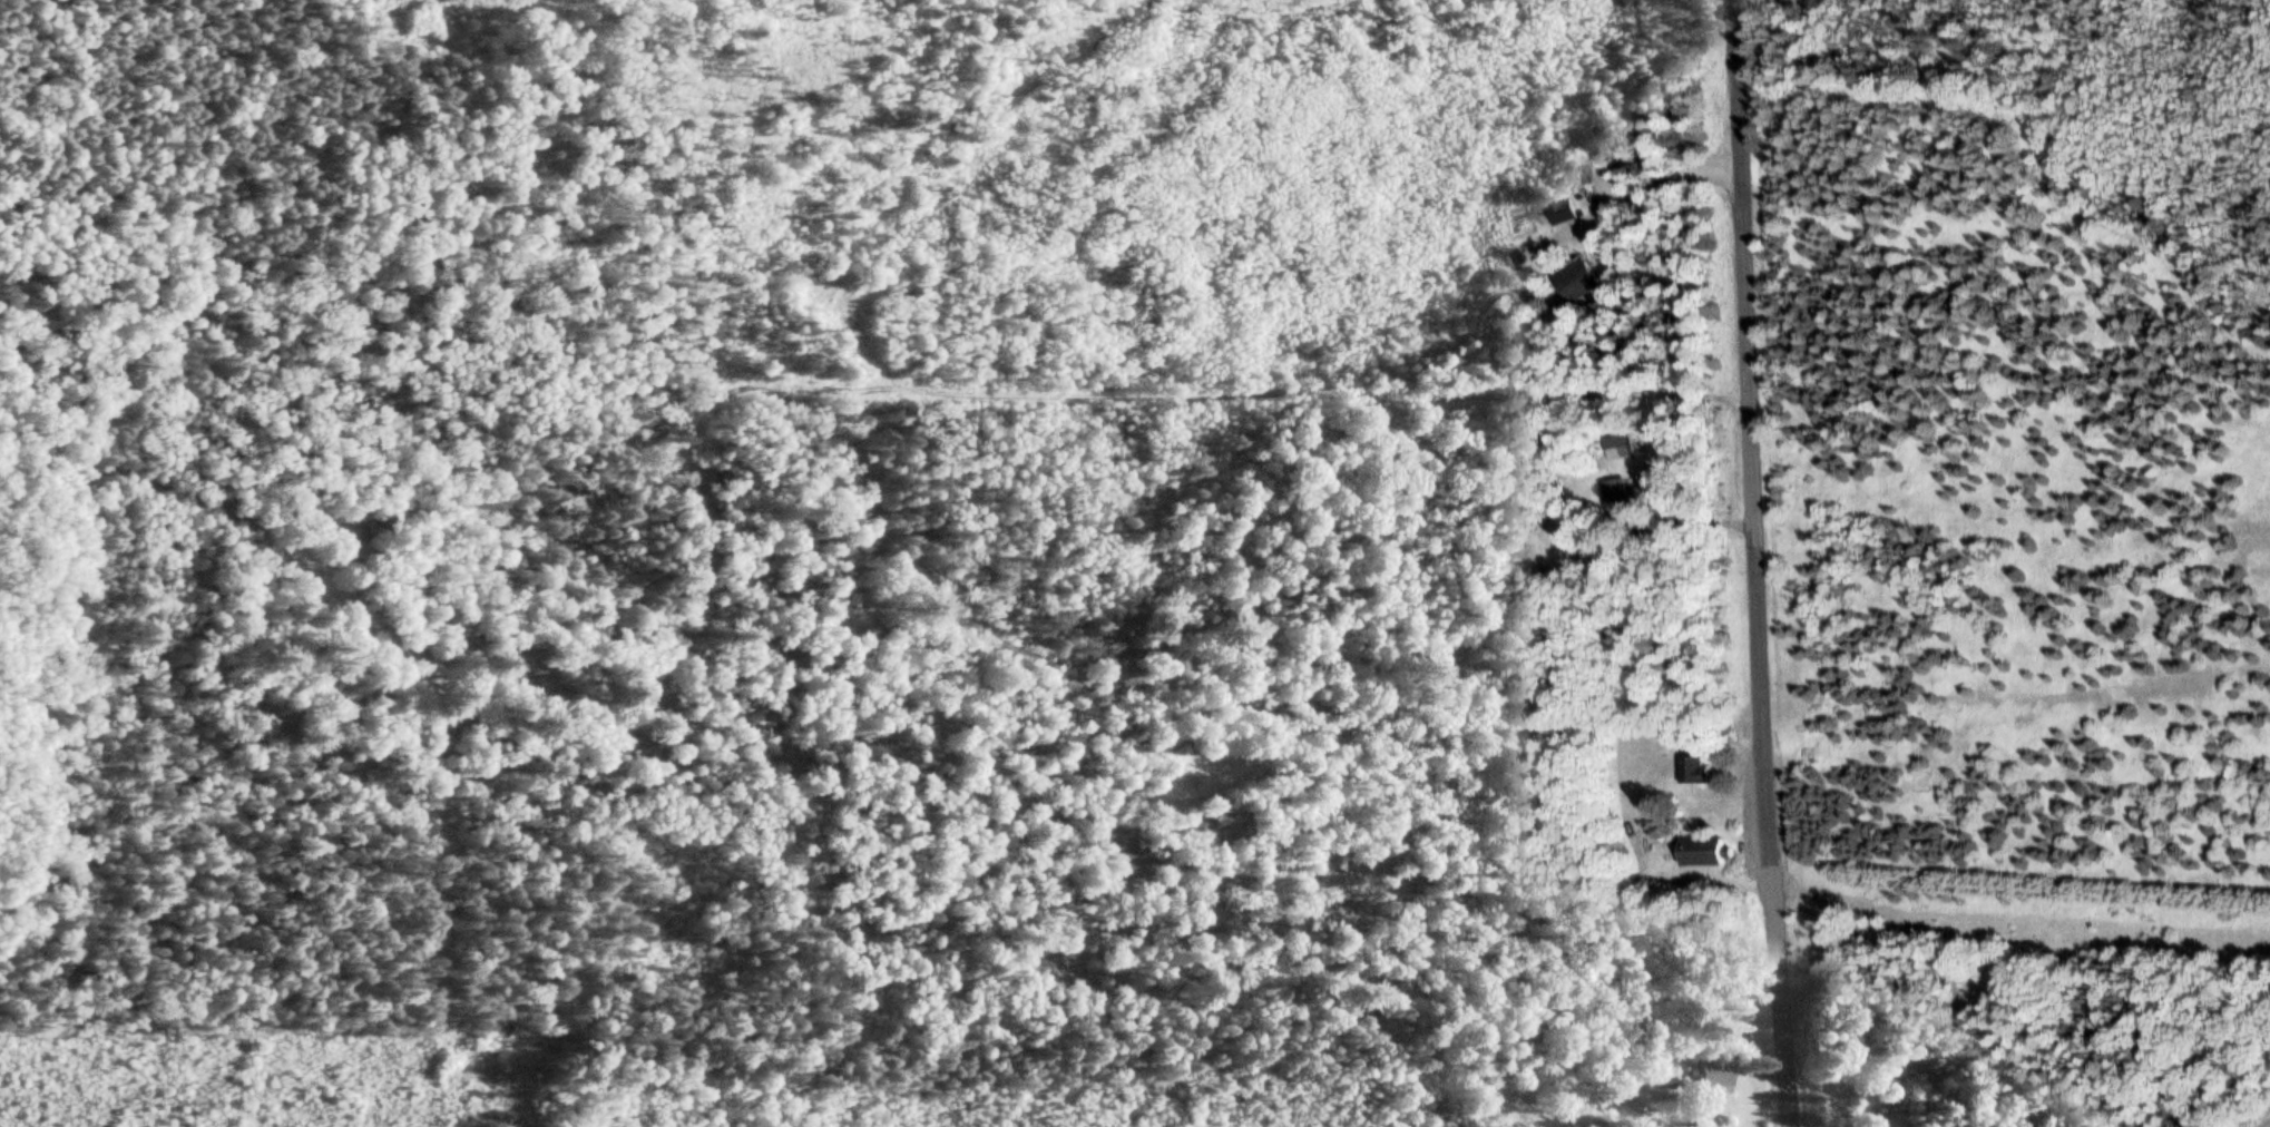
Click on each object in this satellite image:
road: (1655, 183)
building: (1559, 213)
building: (1577, 283)
building: (1618, 447)
building: (1623, 496)
road: (1712, 523)
road: (1753, 563)
building: (1693, 771)
building: (1700, 853)

